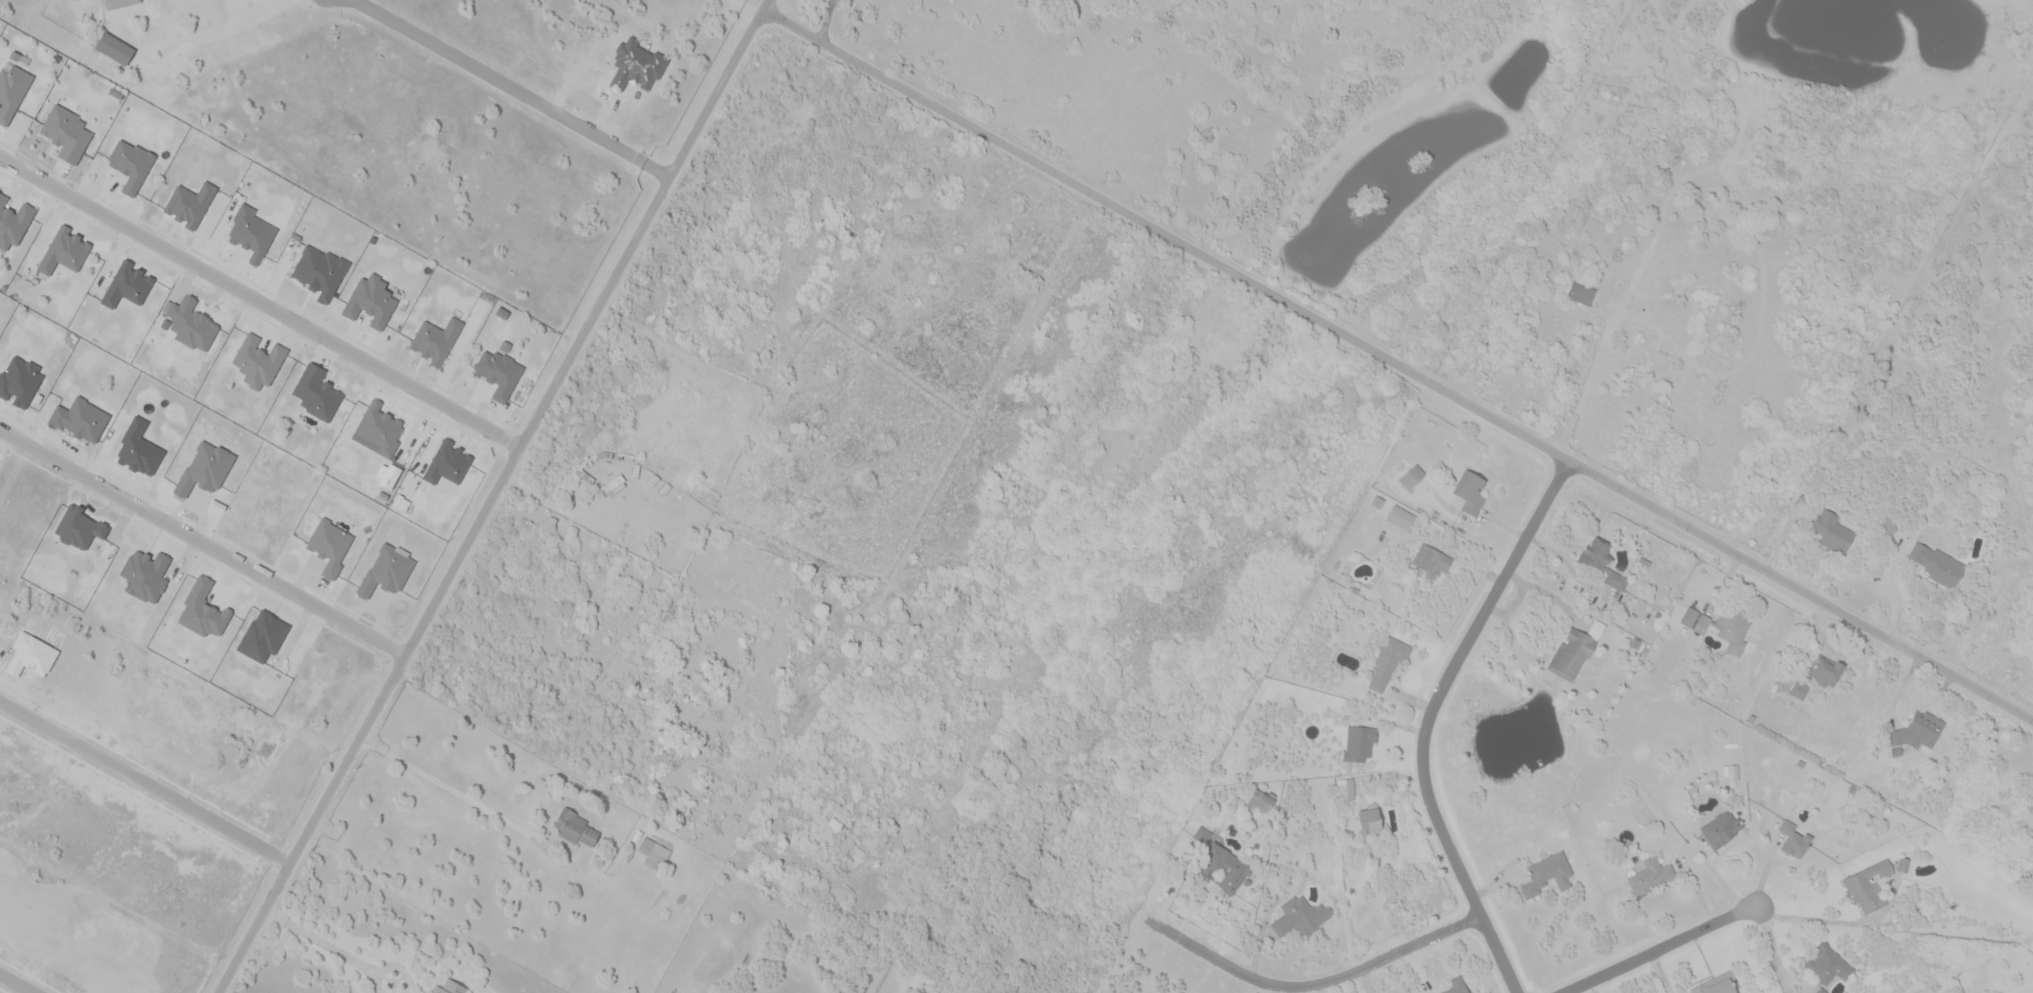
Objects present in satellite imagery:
building: (120, 3)
road: (764, 6)
building: (115, 48)
road: (511, 87)
building: (11, 91)
building: (66, 133)
building: (130, 164)
building: (189, 204)
building: (13, 222)
building: (251, 233)
building: (64, 251)
building: (319, 272)
building: (127, 285)
building: (1580, 293)
road: (260, 300)
building: (370, 301)
building: (190, 323)
building: (435, 340)
building: (258, 361)
road: (1397, 366)
building: (498, 373)
building: (19, 382)
building: (316, 392)
building: (80, 419)
building: (378, 429)
building: (139, 449)
building: (447, 463)
building: (583, 472)
building: (1412, 477)
building: (612, 484)
building: (1469, 491)
road: (489, 502)
building: (1377, 502)
building: (1401, 517)
building: (1887, 525)
building: (79, 527)
building: (1832, 531)
road: (202, 542)
building: (330, 545)
building: (1602, 562)
building: (1643, 562)
building: (1428, 563)
building: (1937, 565)
building: (145, 575)
building: (1722, 624)
building: (1574, 652)
building: (1388, 662)
building: (1817, 677)
road: (1427, 720)
building: (1918, 729)
building: (1359, 743)
road: (145, 781)
building: (1345, 788)
road: (467, 797)
building: (1260, 800)
building: (2031, 804)
building: (1370, 819)
building: (575, 828)
building: (1721, 829)
building: (1203, 835)
building: (1793, 839)
building: (654, 853)
building: (1902, 864)
building: (1223, 868)
building: (1548, 873)
building: (1651, 875)
building: (1868, 885)
building: (1302, 916)
road: (321, 940)
road: (1666, 948)
building: (1827, 964)
road: (404, 968)
road: (18, 982)
road: (380, 984)
building: (1717, 984)
road: (1314, 985)
building: (1457, 985)
building: (450, 987)
building: (1821, 991)

